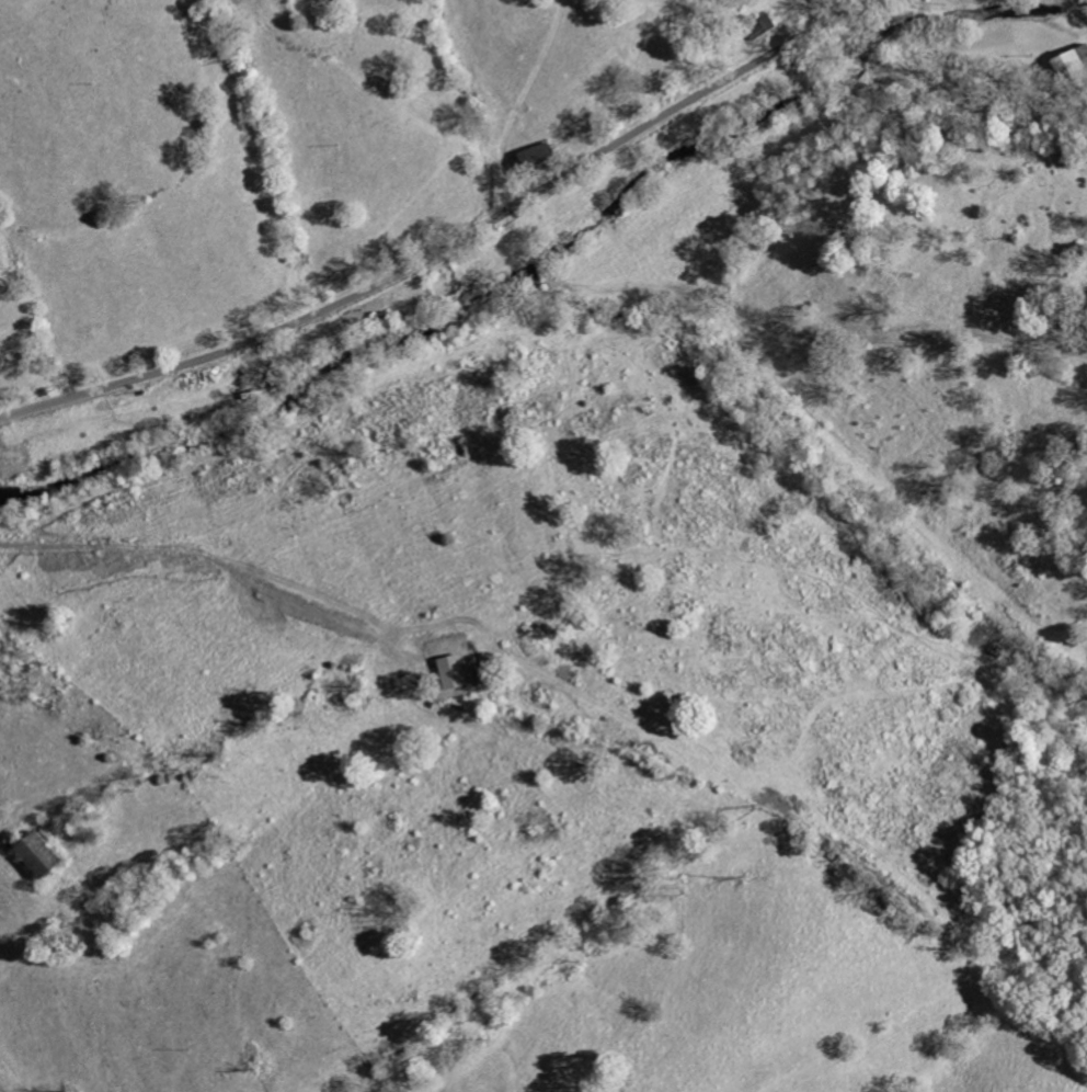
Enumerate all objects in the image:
road: (1075, 9)
building: (755, 25)
building: (1073, 66)
building: (530, 161)
road: (448, 246)
road: (777, 318)
building: (35, 854)

